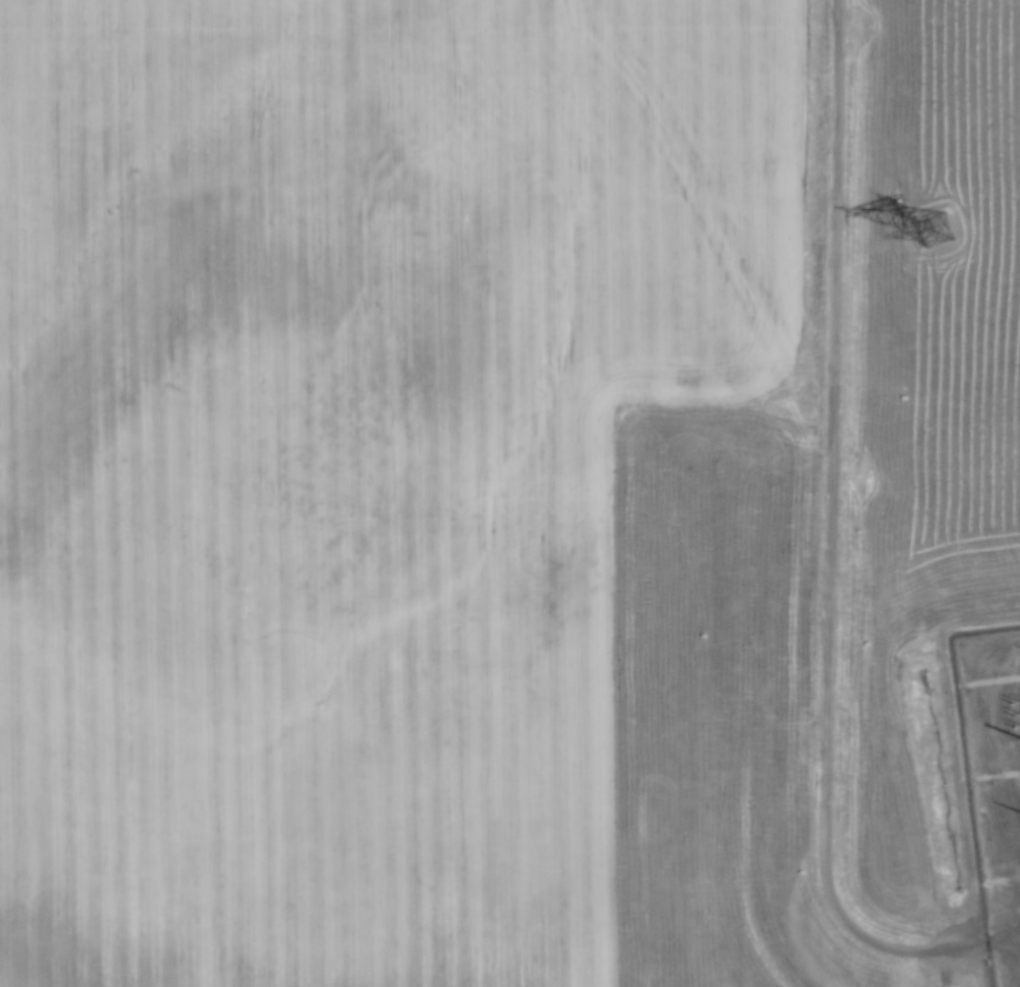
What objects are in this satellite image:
power tower: (934, 229)
road: (837, 554)
power substation: (995, 779)
road: (951, 968)

